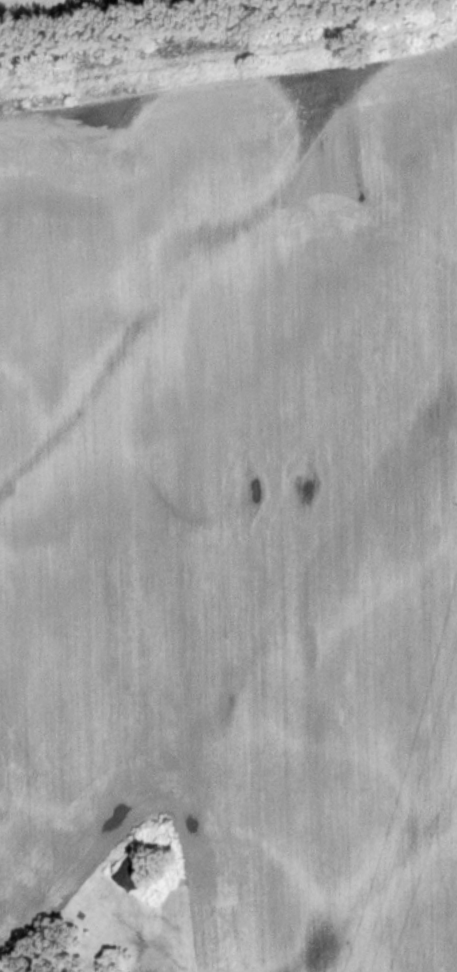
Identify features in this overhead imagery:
crop: (235, 501)

